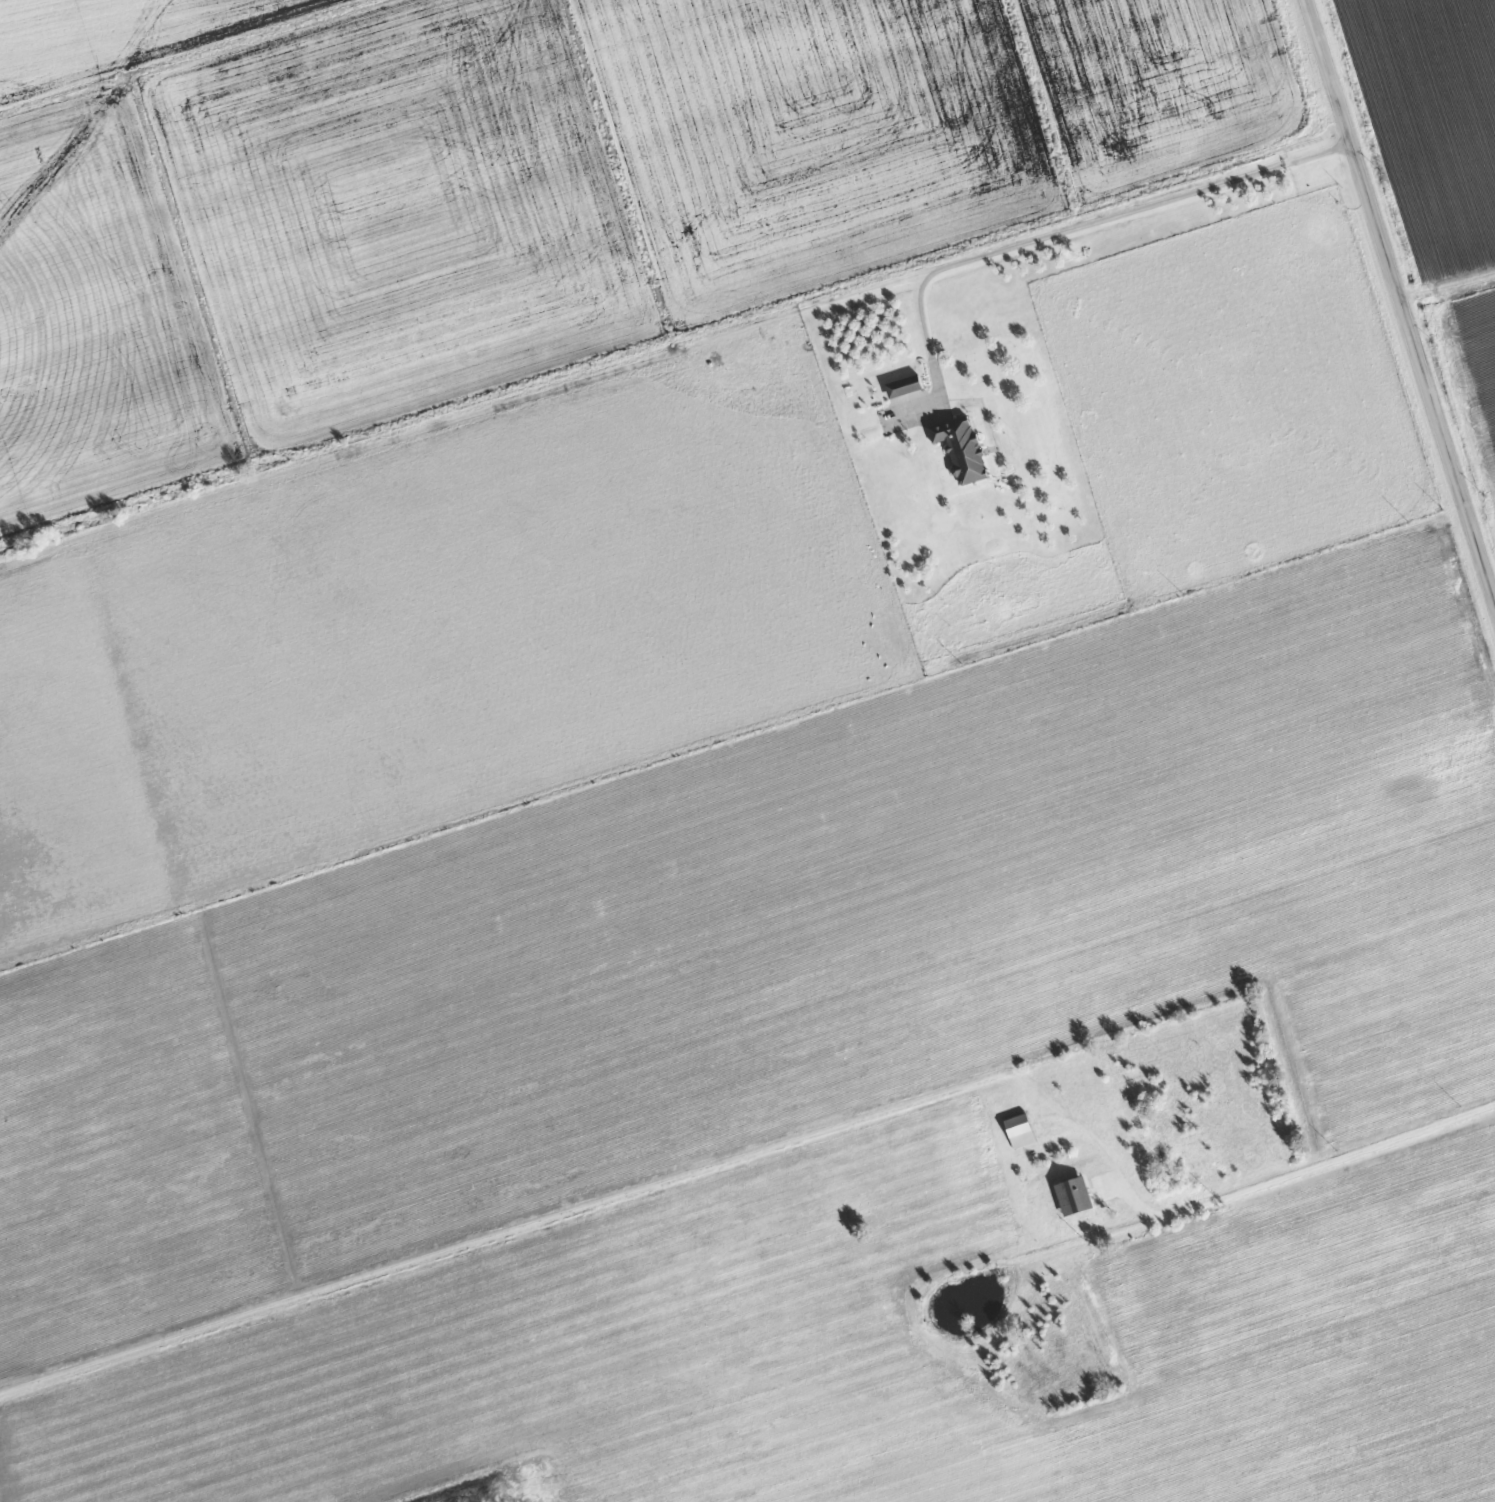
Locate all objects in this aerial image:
road: (1400, 308)
road: (676, 367)
building: (964, 450)
building: (1021, 1132)
road: (1333, 1166)
building: (1075, 1197)

